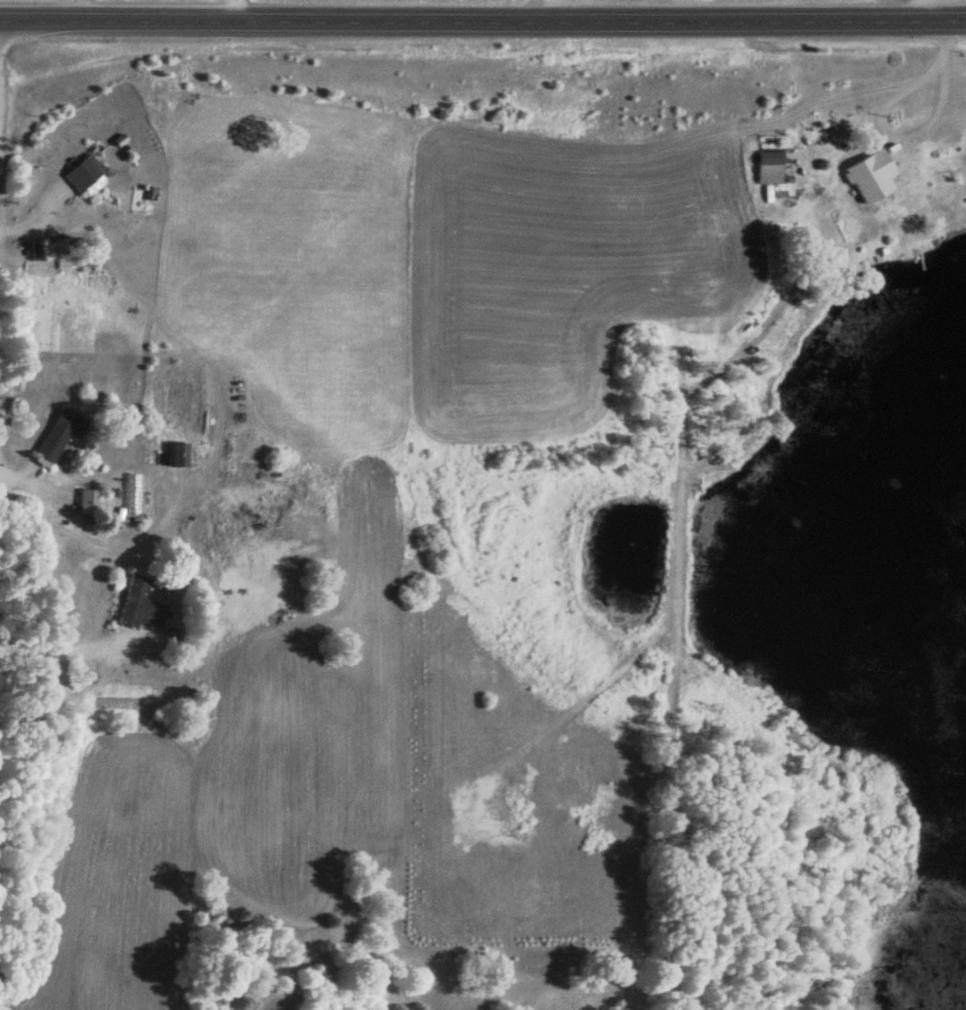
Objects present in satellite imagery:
road: (483, 20)
building: (867, 168)
building: (771, 173)
building: (81, 175)
building: (60, 434)
building: (178, 454)
building: (139, 605)

